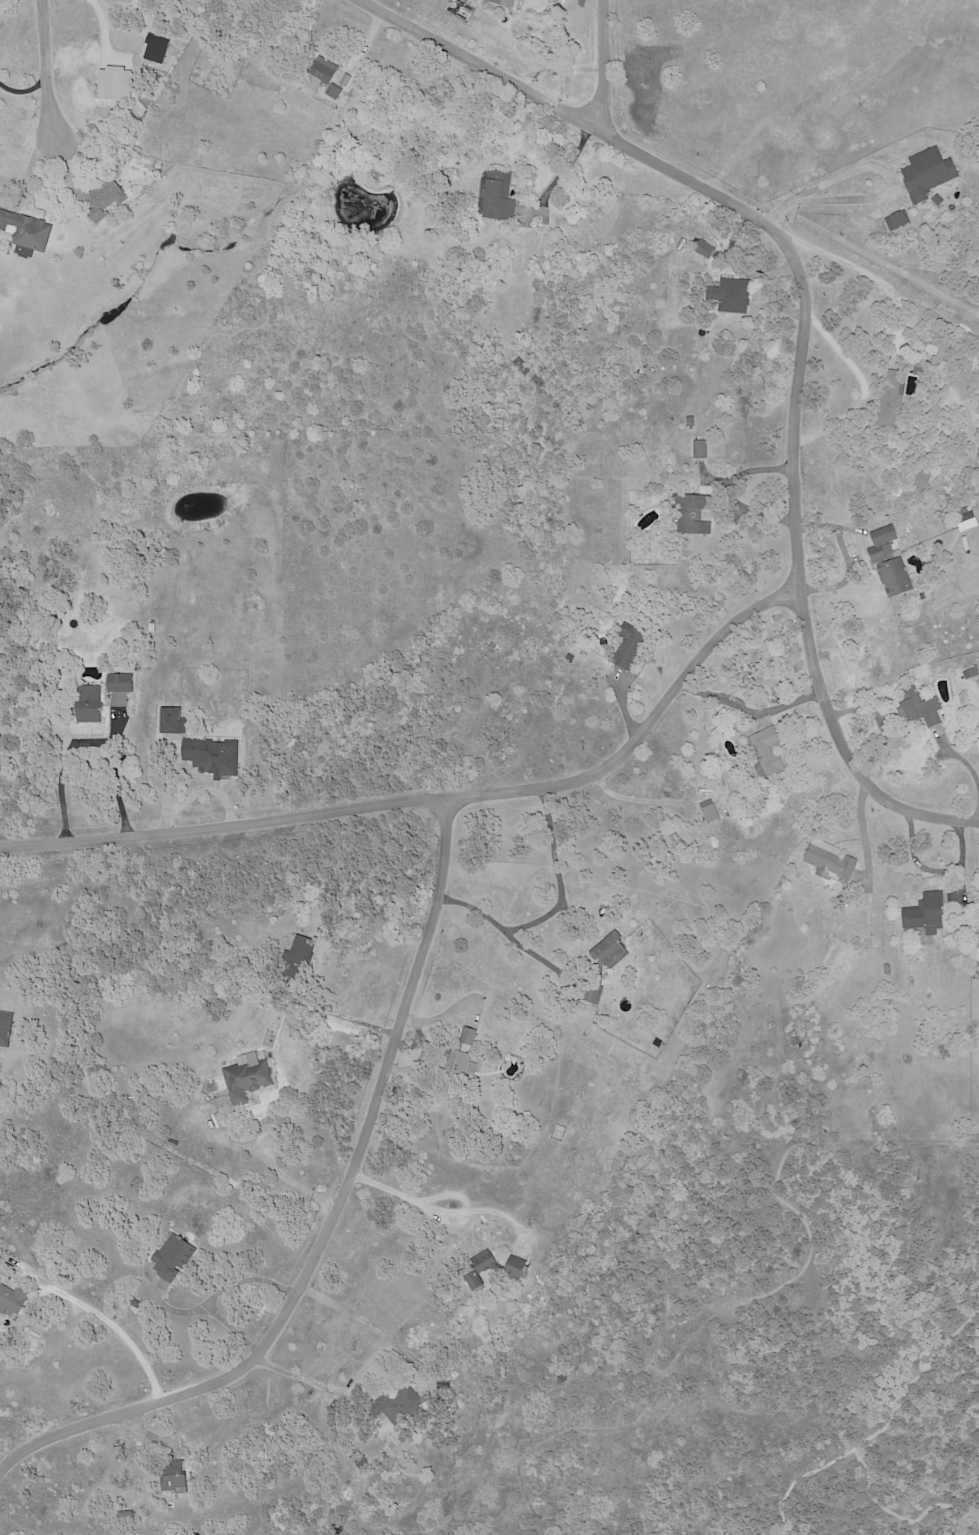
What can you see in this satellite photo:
building: (504, 5)
building: (156, 49)
building: (227, 59)
road: (601, 64)
building: (321, 74)
road: (48, 78)
power tower: (535, 79)
building: (116, 83)
road: (23, 90)
building: (334, 91)
road: (876, 166)
building: (160, 169)
road: (568, 169)
building: (929, 174)
building: (499, 197)
building: (105, 198)
building: (939, 200)
power tower: (788, 220)
building: (899, 221)
building: (27, 231)
building: (706, 249)
building: (728, 254)
building: (978, 277)
building: (978, 286)
building: (732, 295)
road: (805, 335)
building: (920, 362)
building: (522, 367)
building: (892, 401)
building: (691, 421)
building: (701, 449)
building: (921, 480)
road: (731, 489)
building: (657, 500)
building: (694, 513)
building: (966, 517)
building: (906, 555)
building: (890, 563)
building: (152, 627)
building: (629, 646)
building: (972, 673)
building: (120, 683)
building: (90, 704)
building: (920, 708)
building: (258, 718)
building: (173, 721)
building: (740, 730)
road: (86, 741)
building: (769, 750)
building: (213, 756)
road: (970, 769)
road: (438, 794)
building: (712, 814)
road: (862, 834)
building: (831, 861)
road: (557, 873)
building: (927, 914)
road: (498, 924)
building: (299, 957)
building: (600, 968)
building: (888, 969)
building: (104, 979)
building: (5, 1029)
building: (461, 1053)
building: (244, 1081)
building: (529, 1103)
road: (280, 1169)
road: (403, 1192)
road: (331, 1216)
building: (173, 1256)
building: (495, 1267)
road: (217, 1289)
building: (540, 1290)
road: (747, 1296)
building: (13, 1298)
building: (136, 1303)
road: (173, 1309)
road: (114, 1327)
park: (746, 1347)
road: (928, 1350)
road: (294, 1375)
building: (397, 1405)
road: (864, 1470)
building: (395, 1471)
building: (174, 1477)
building: (126, 1514)

